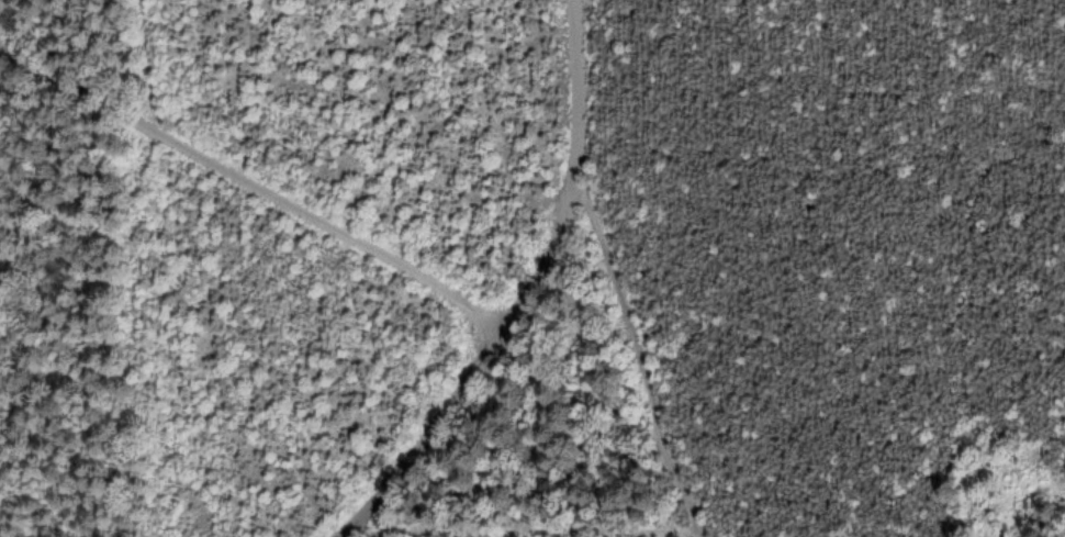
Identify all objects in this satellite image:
road: (249, 166)
road: (105, 268)
road: (503, 295)
road: (621, 354)
road: (511, 525)

